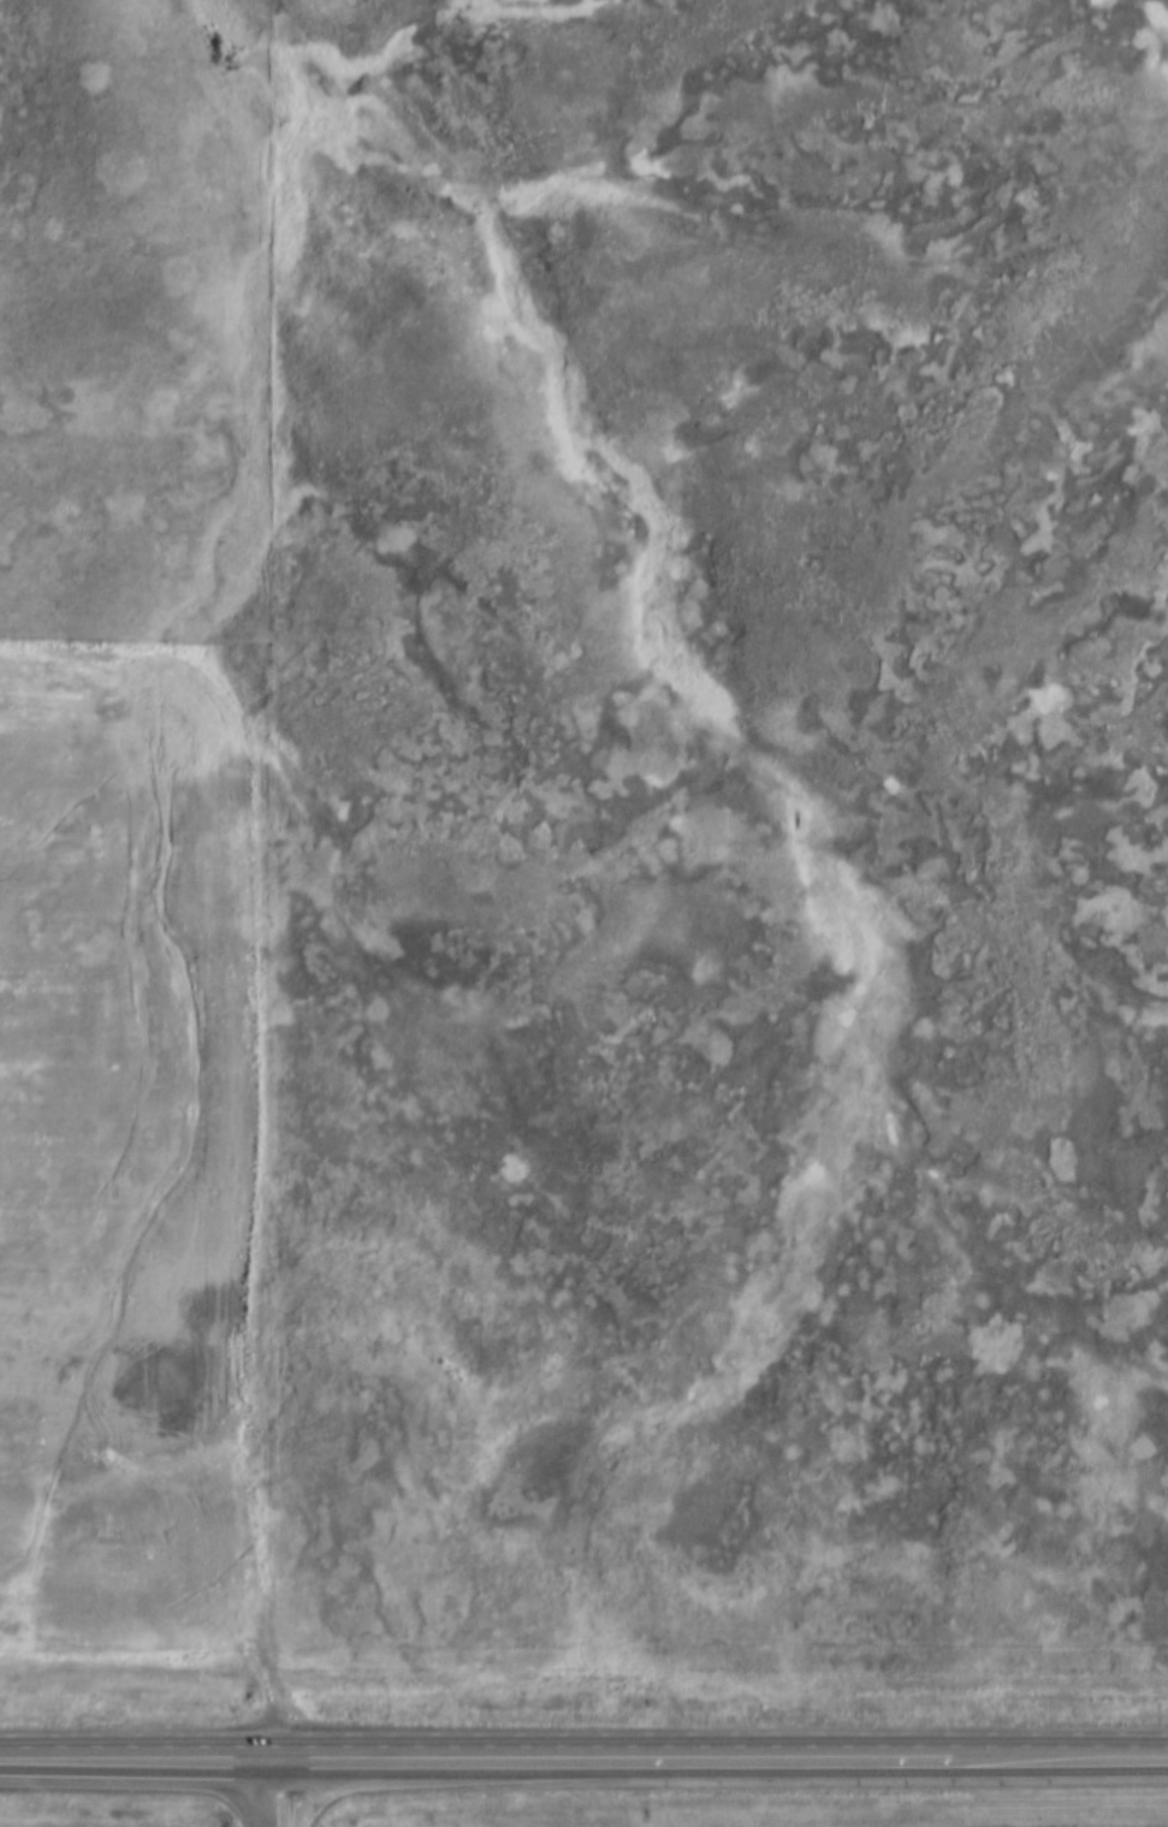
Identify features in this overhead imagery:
road: (604, 1760)
road: (1053, 1760)
road: (136, 1761)
road: (277, 1792)

